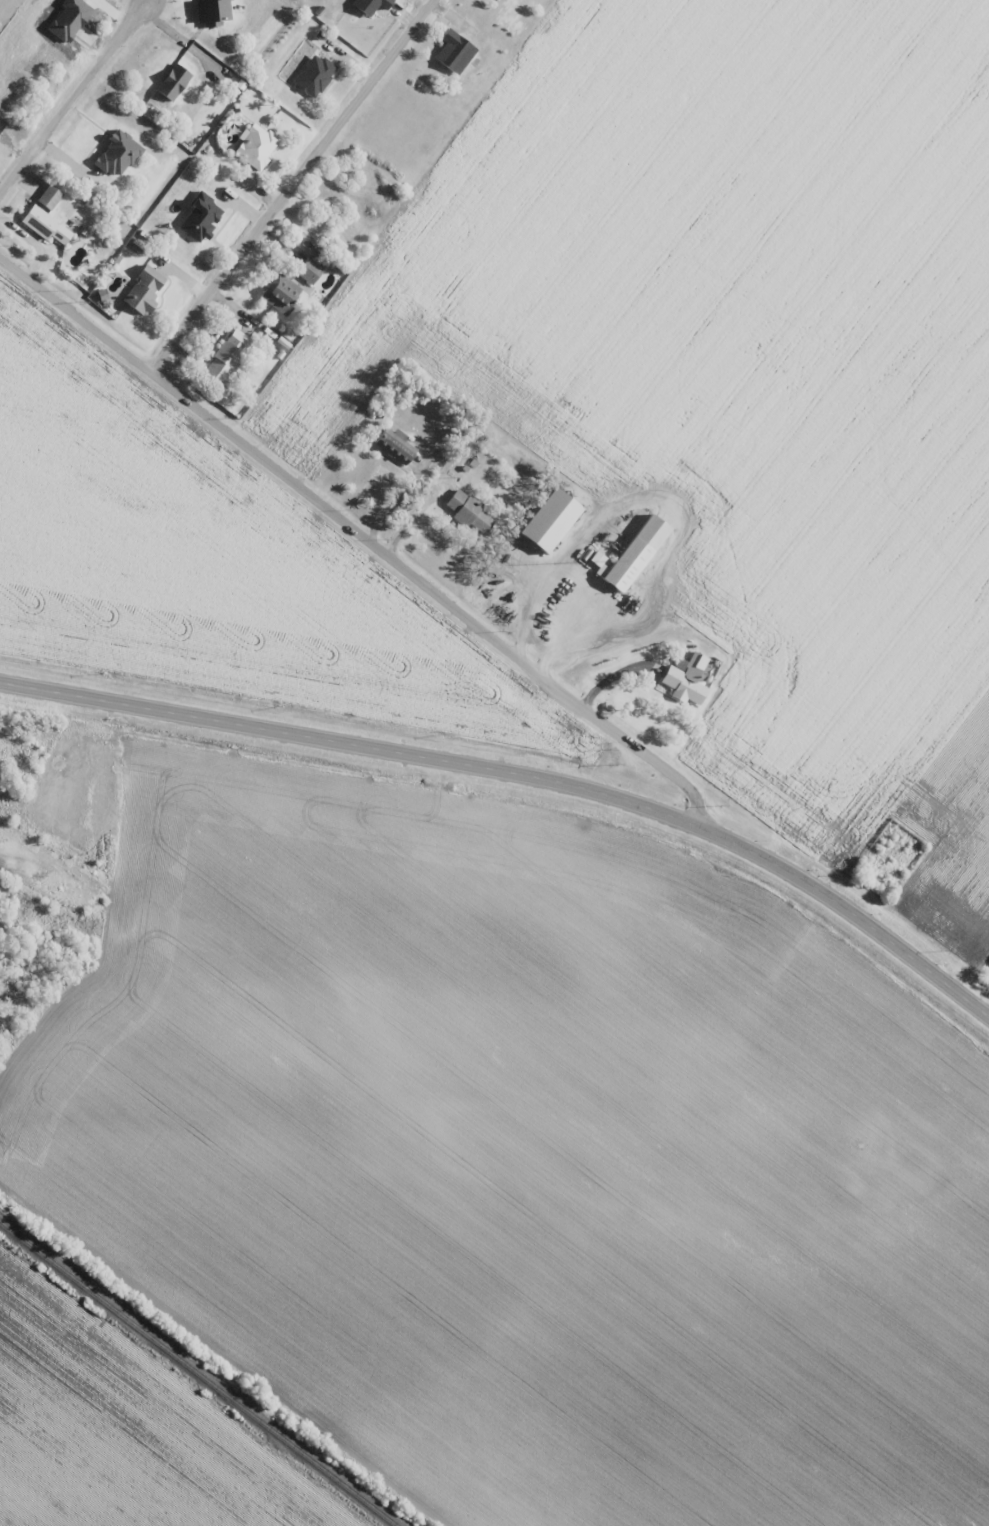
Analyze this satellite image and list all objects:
building: (370, 5)
building: (454, 52)
building: (314, 76)
road: (76, 102)
building: (256, 146)
building: (16, 184)
road: (296, 188)
building: (46, 226)
building: (308, 272)
building: (143, 290)
building: (280, 293)
building: (227, 357)
building: (395, 446)
building: (469, 513)
building: (549, 521)
road: (356, 527)
building: (634, 553)
building: (686, 681)
road: (524, 780)
crop: (518, 1150)
railway: (197, 1373)
crop: (118, 1437)

